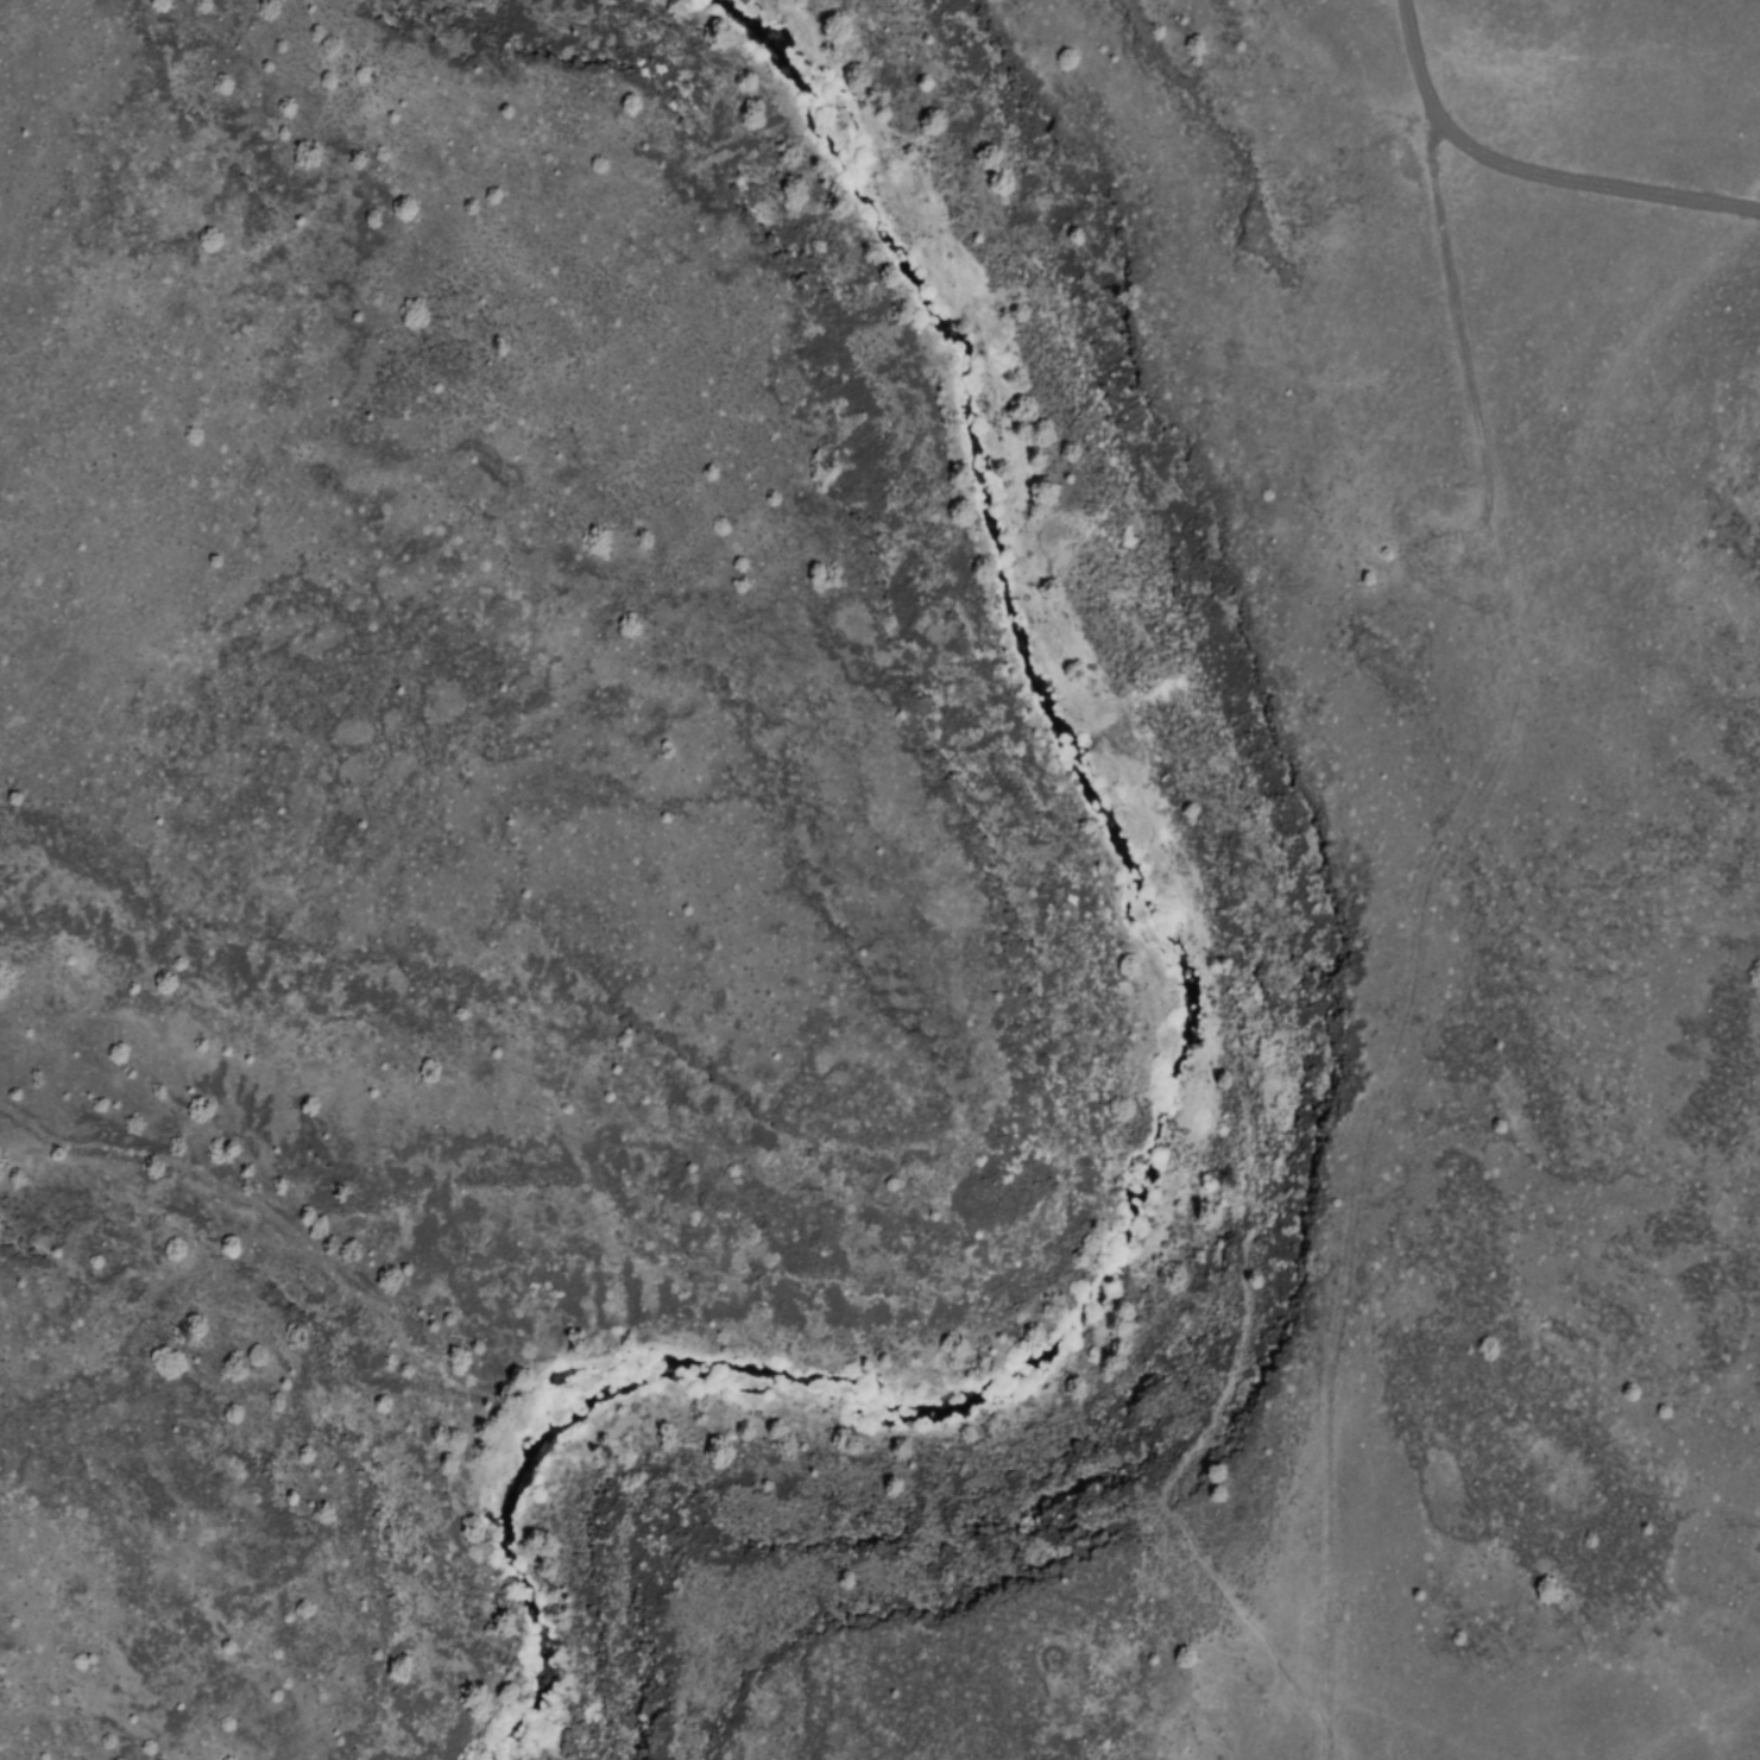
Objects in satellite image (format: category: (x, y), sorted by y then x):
road: (1611, 389)
road: (1439, 869)
road: (1693, 1718)

